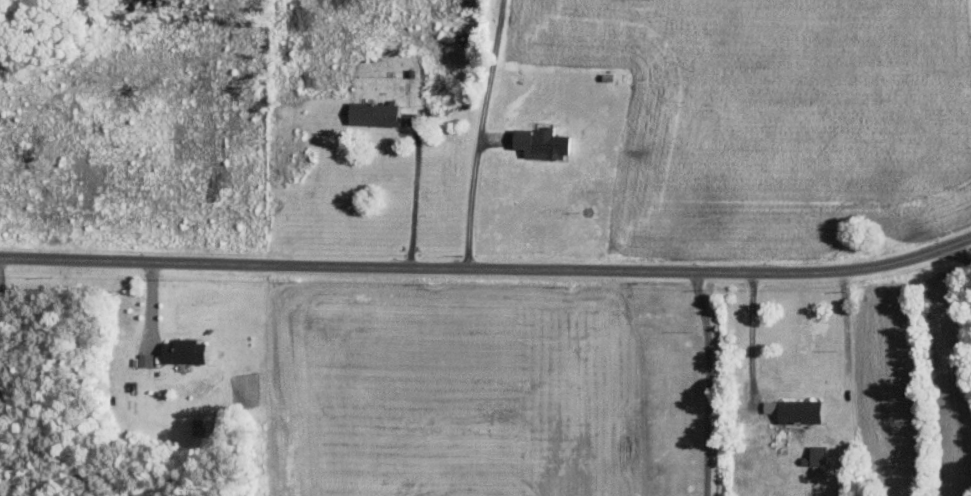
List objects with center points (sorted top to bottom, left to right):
building: (374, 114)
road: (478, 136)
building: (551, 145)
road: (413, 198)
road: (956, 255)
road: (488, 274)
road: (3, 329)
road: (748, 331)
road: (846, 350)
building: (185, 351)
building: (145, 360)
road: (640, 381)
road: (707, 383)
building: (796, 411)
building: (819, 456)
building: (819, 472)

